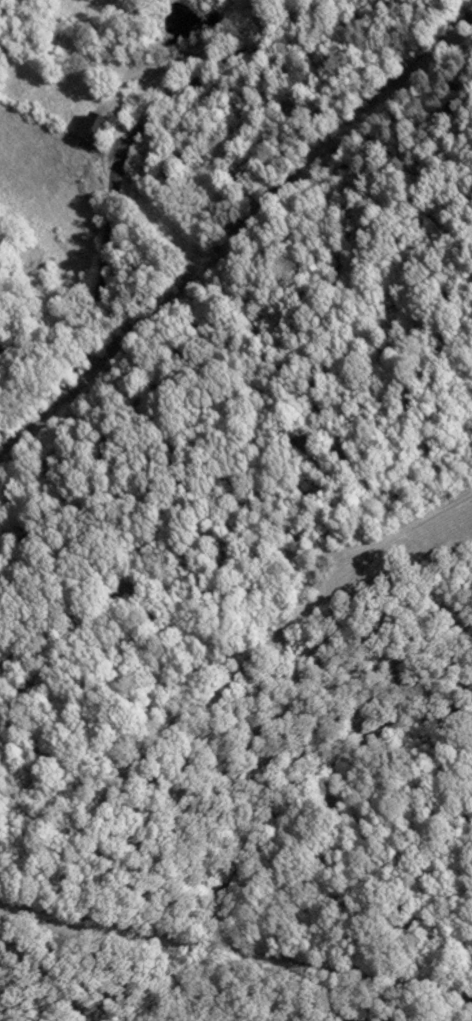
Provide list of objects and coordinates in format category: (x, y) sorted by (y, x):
road: (171, 165)

